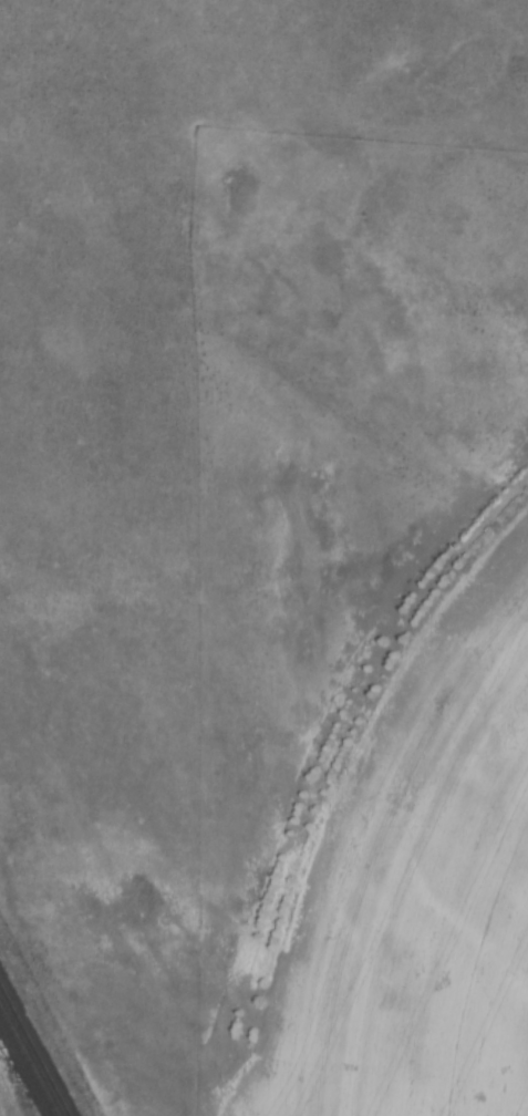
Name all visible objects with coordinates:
crop: (418, 883)
railway: (33, 1050)
railway: (28, 1061)

